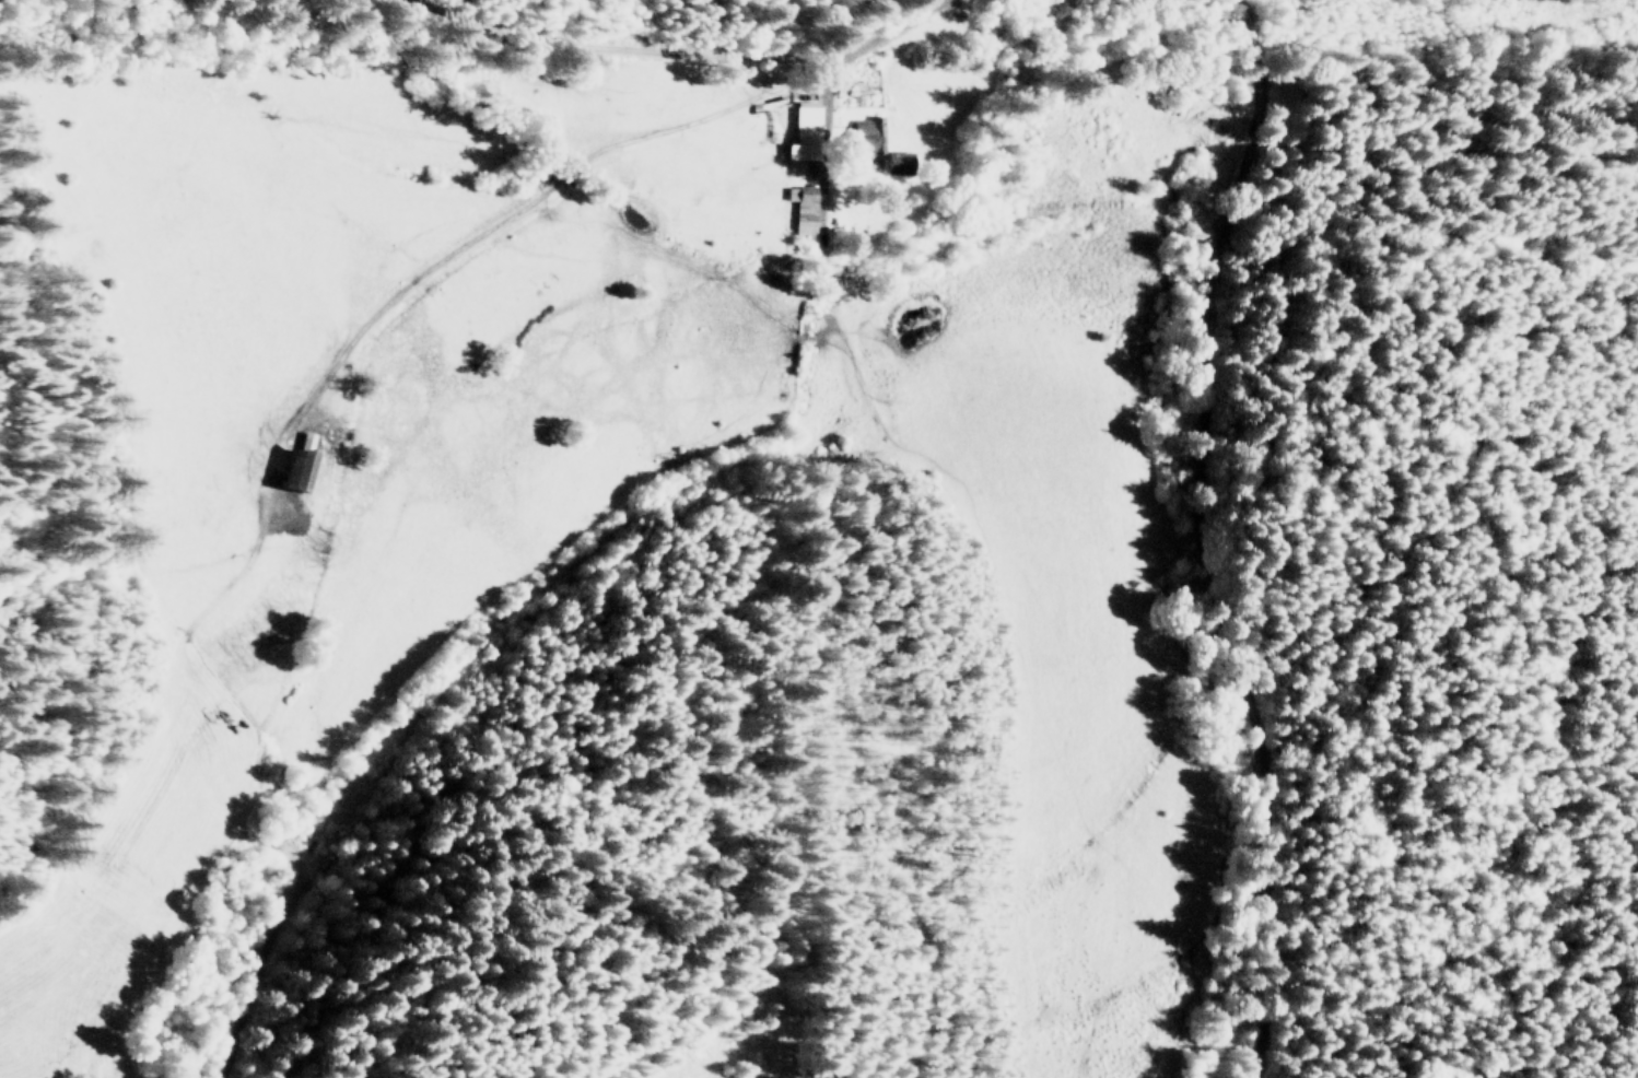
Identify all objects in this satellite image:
road: (683, 48)
building: (803, 131)
road: (531, 196)
road: (823, 267)
building: (302, 477)

